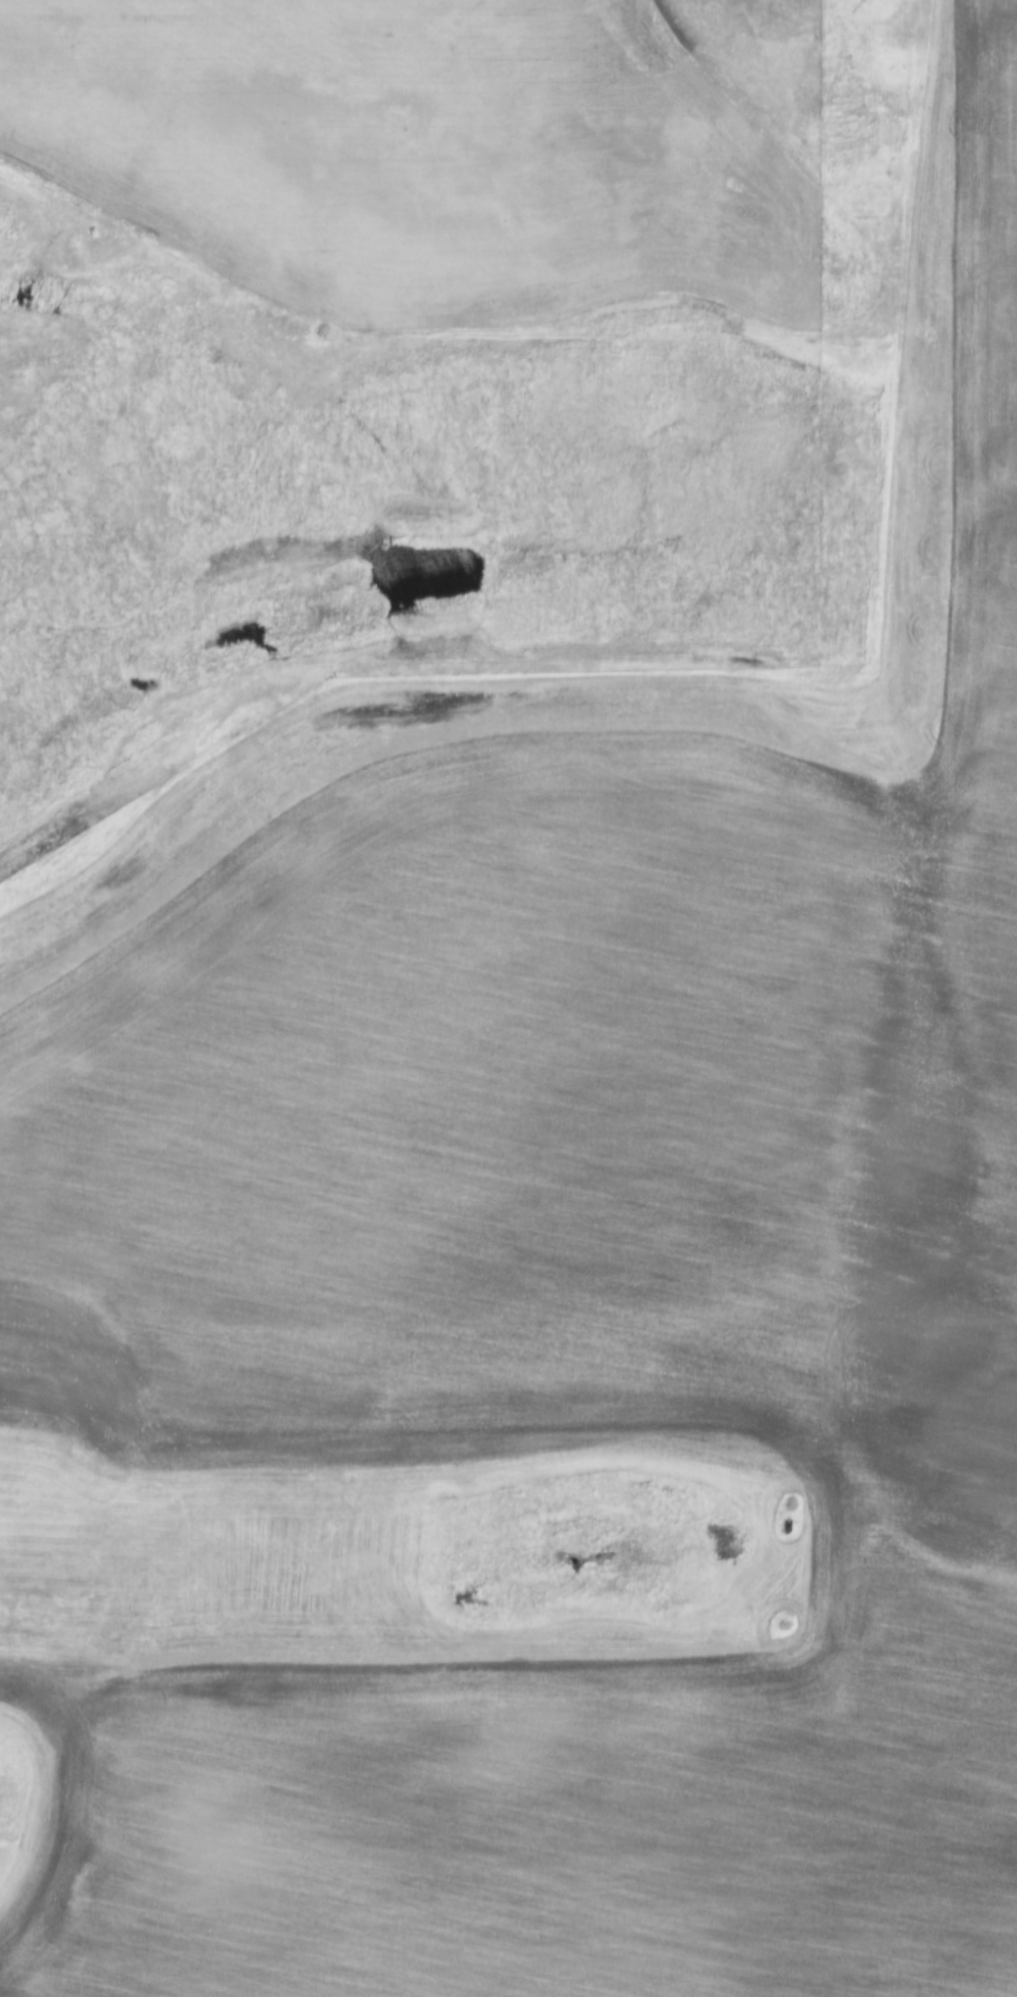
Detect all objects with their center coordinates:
road: (878, 694)

